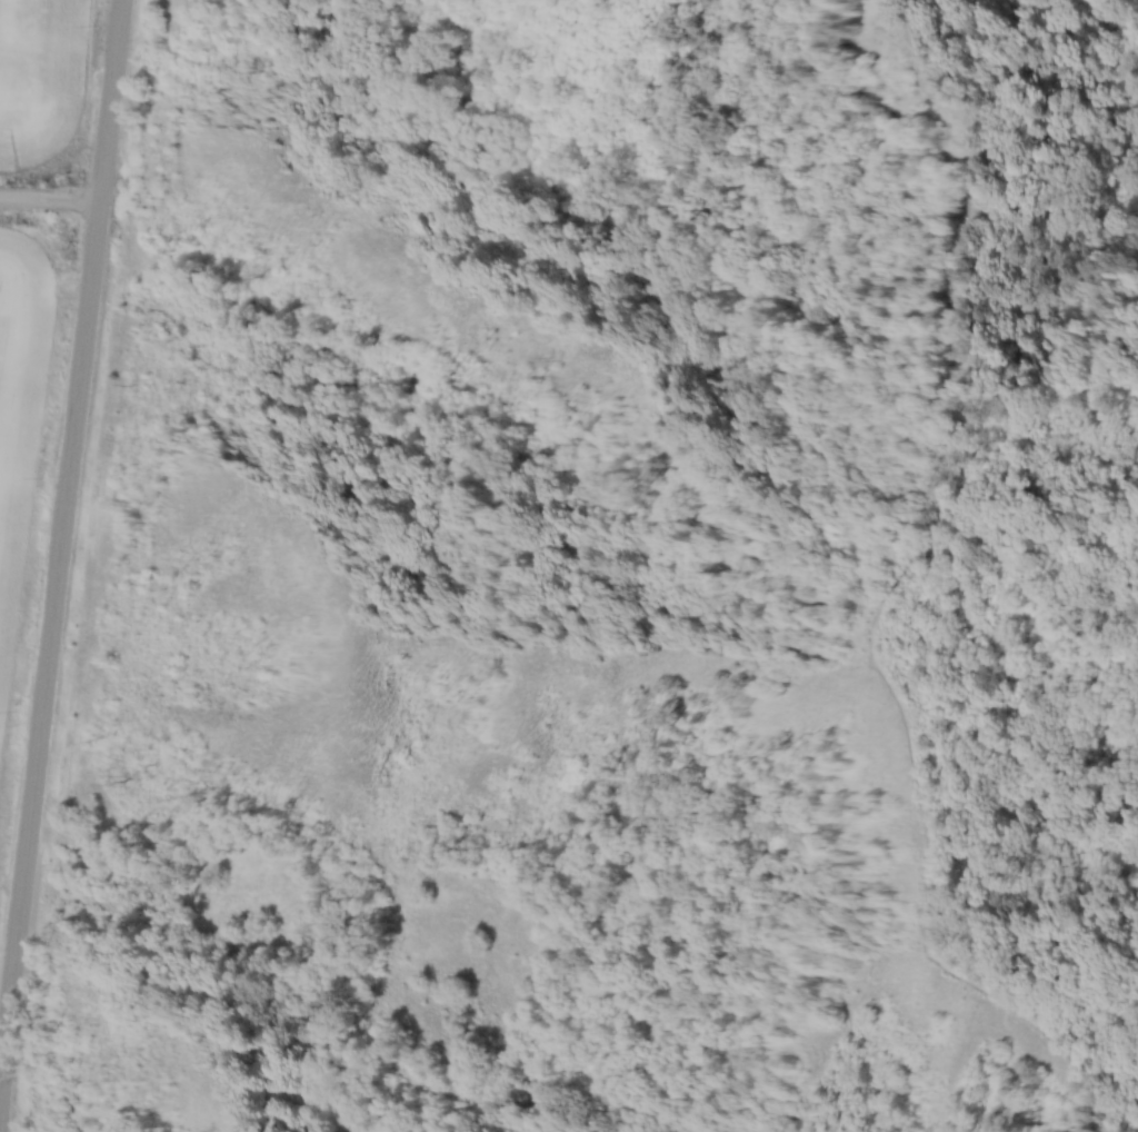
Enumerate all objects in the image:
road: (46, 200)
road: (56, 507)
road: (912, 723)

